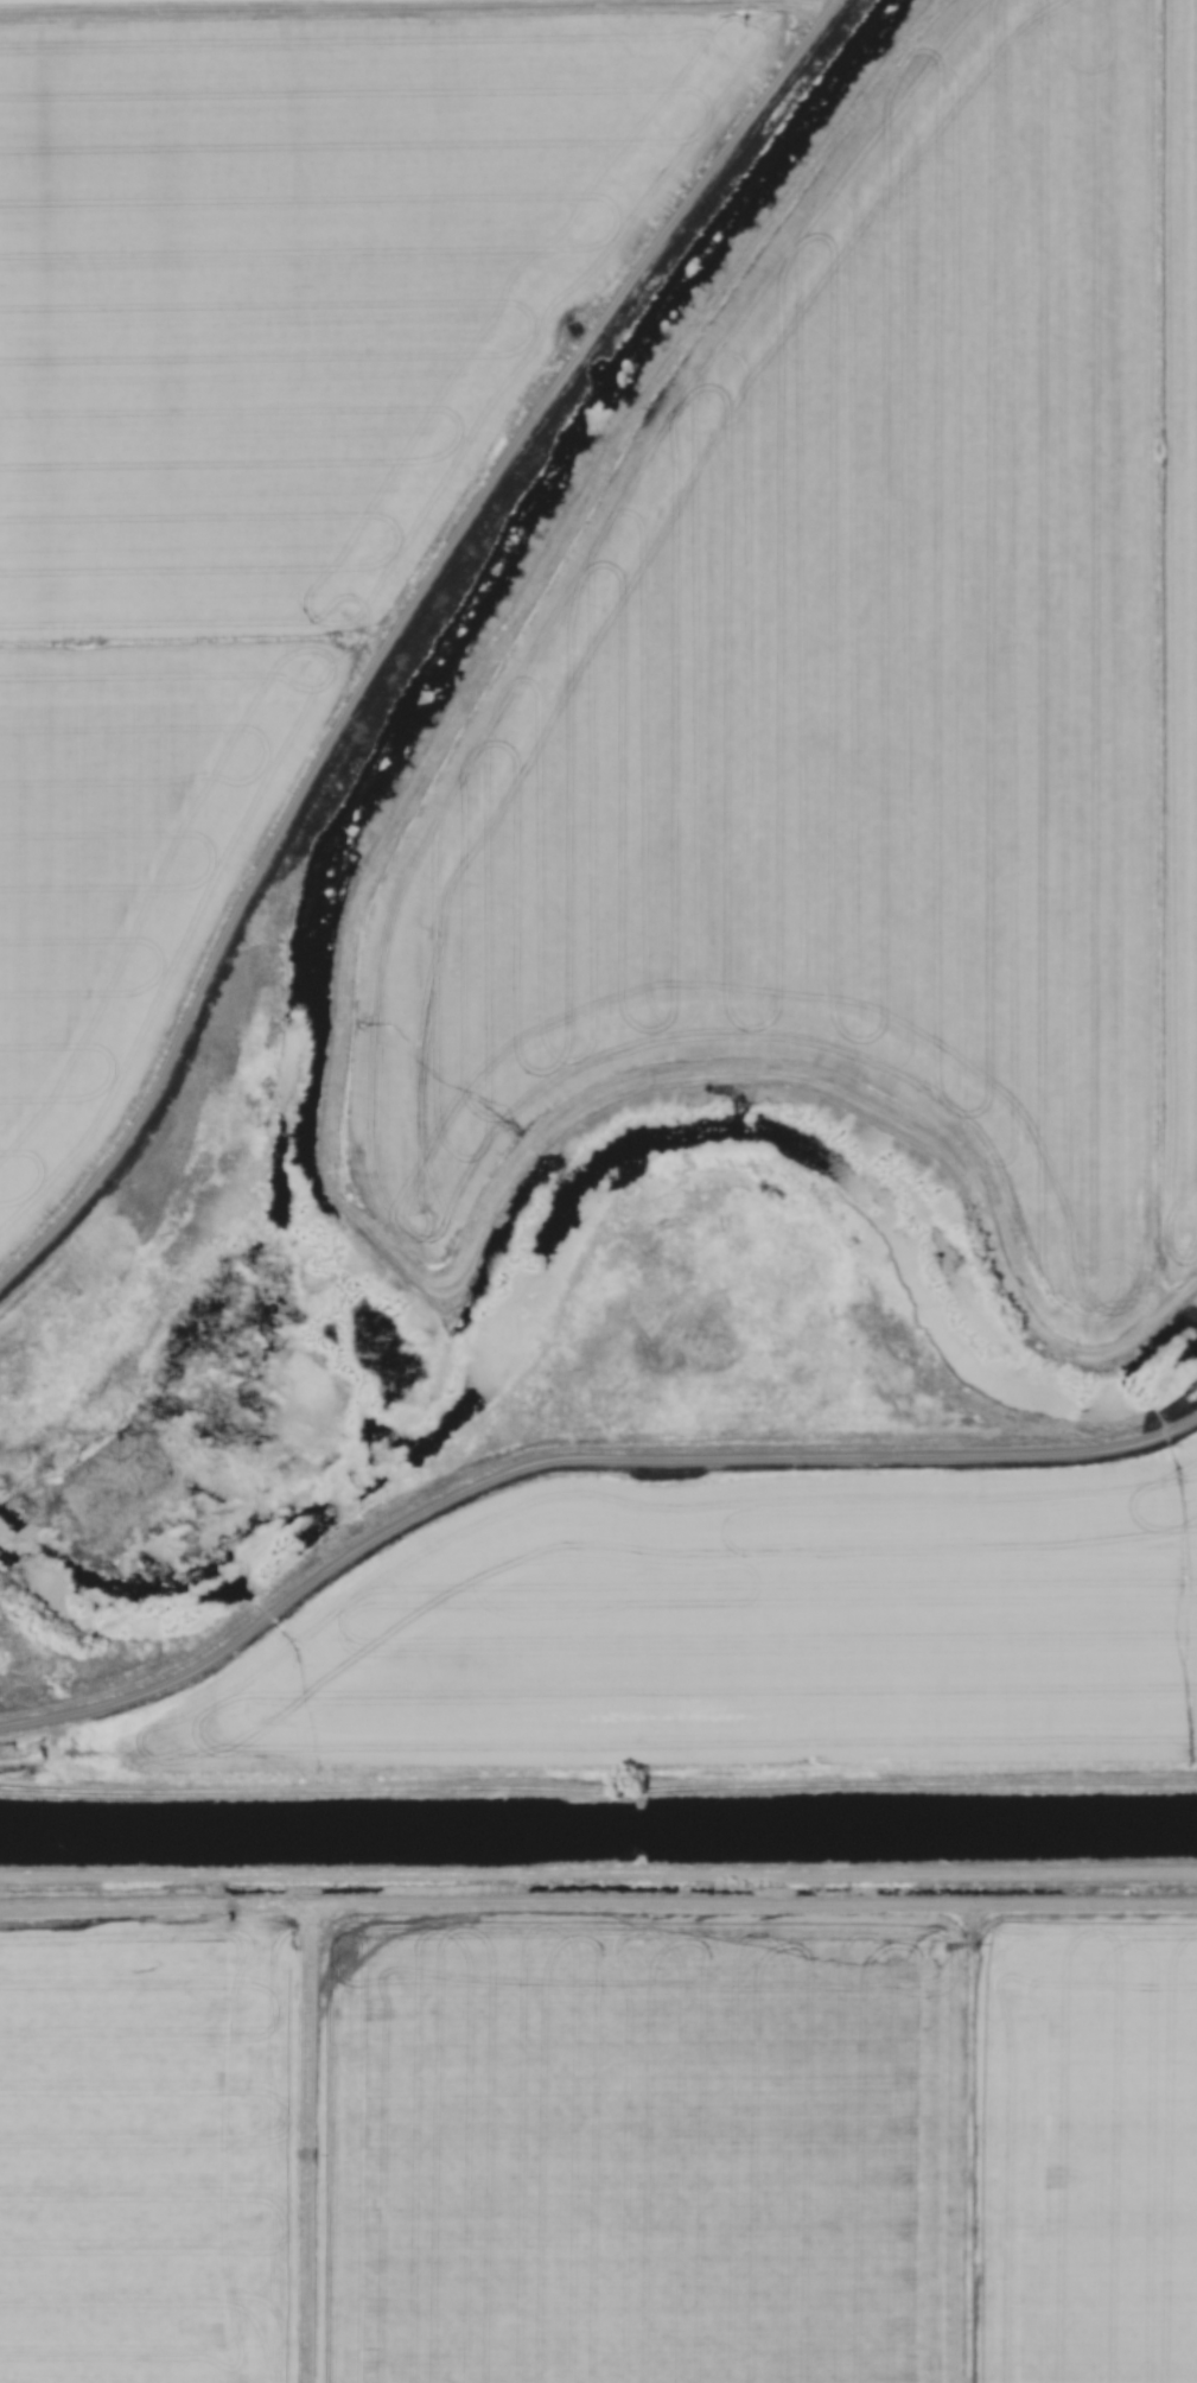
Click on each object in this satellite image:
river: (598, 1830)

